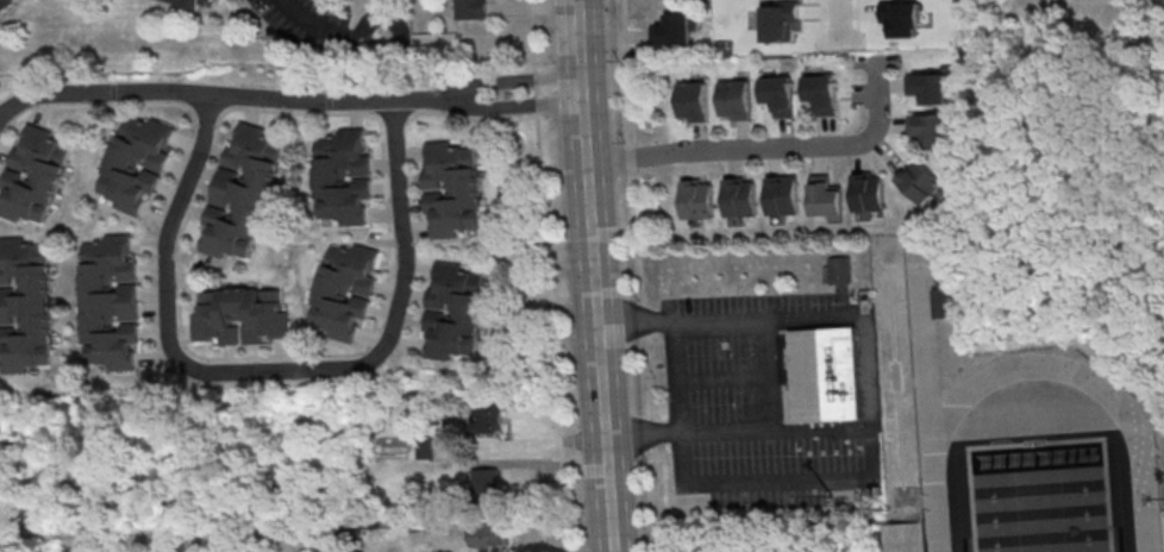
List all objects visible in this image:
building: (190, 4)
building: (7, 7)
building: (474, 11)
road: (840, 20)
building: (672, 30)
road: (325, 32)
road: (533, 38)
road: (576, 51)
road: (509, 87)
building: (930, 87)
building: (821, 93)
building: (778, 94)
road: (219, 95)
road: (537, 95)
building: (736, 100)
road: (419, 101)
building: (693, 101)
road: (20, 102)
road: (511, 108)
building: (932, 128)
road: (772, 150)
building: (137, 168)
building: (35, 178)
building: (344, 181)
building: (920, 181)
building: (452, 192)
building: (243, 196)
building: (870, 196)
building: (784, 200)
building: (826, 200)
building: (741, 202)
building: (699, 203)
road: (406, 246)
building: (837, 270)
road: (640, 275)
building: (346, 295)
building: (946, 302)
building: (109, 306)
building: (25, 308)
road: (165, 314)
building: (455, 315)
road: (809, 319)
building: (240, 320)
road: (597, 327)
road: (553, 333)
building: (825, 378)
road: (676, 379)
road: (724, 379)
track: (958, 403)
building: (488, 420)
road: (857, 432)
road: (728, 433)
road: (214, 444)
road: (127, 484)
park: (1039, 497)
park: (1040, 497)
stadium: (1162, 529)
stadium: (906, 535)
building: (492, 539)

